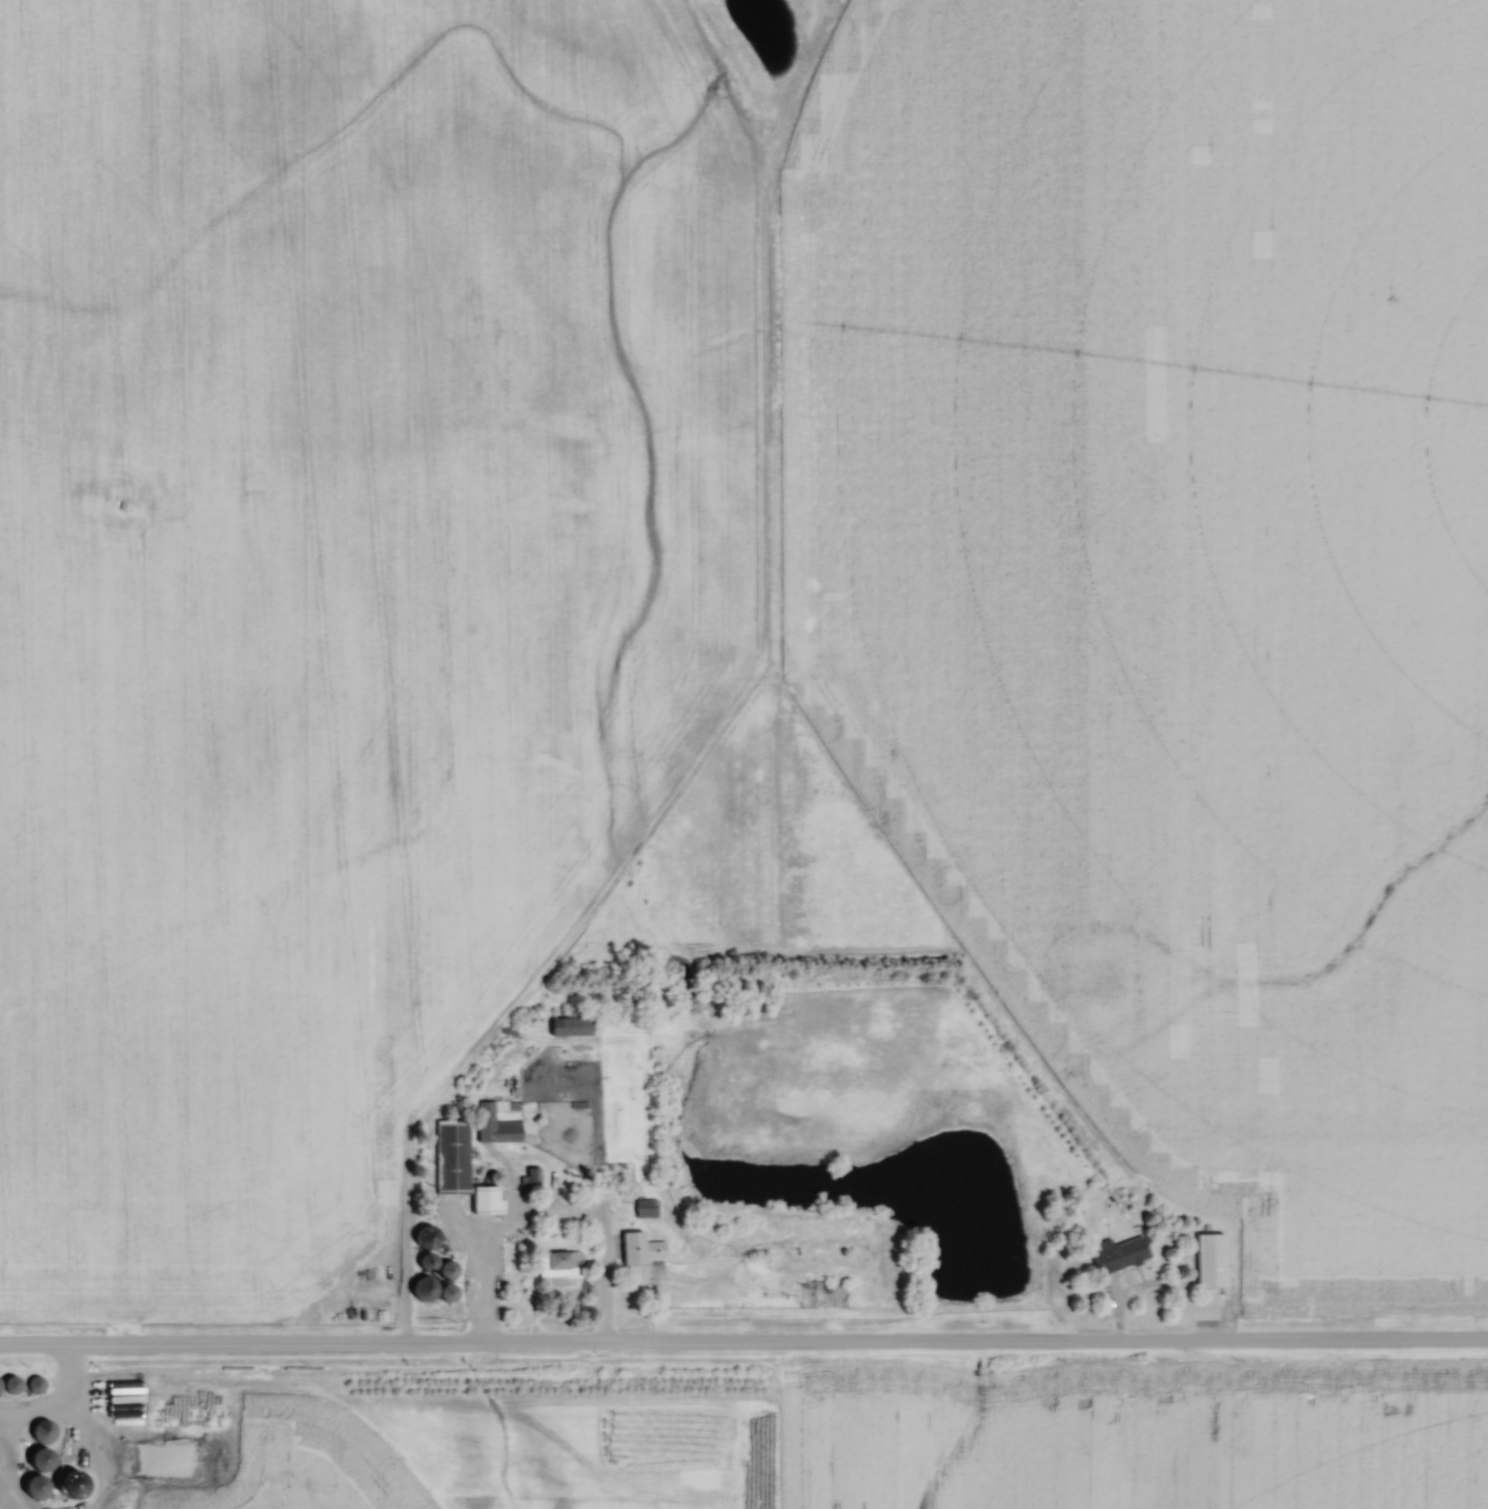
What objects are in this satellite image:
building: (576, 1026)
building: (503, 1124)
building: (462, 1166)
building: (534, 1176)
building: (649, 1208)
building: (638, 1252)
building: (1125, 1253)
building: (561, 1263)
building: (445, 1265)
road: (572, 1284)
road: (1157, 1288)
road: (743, 1344)
building: (40, 1384)
building: (18, 1385)
building: (3, 1387)
building: (50, 1432)
building: (49, 1459)
building: (44, 1487)

